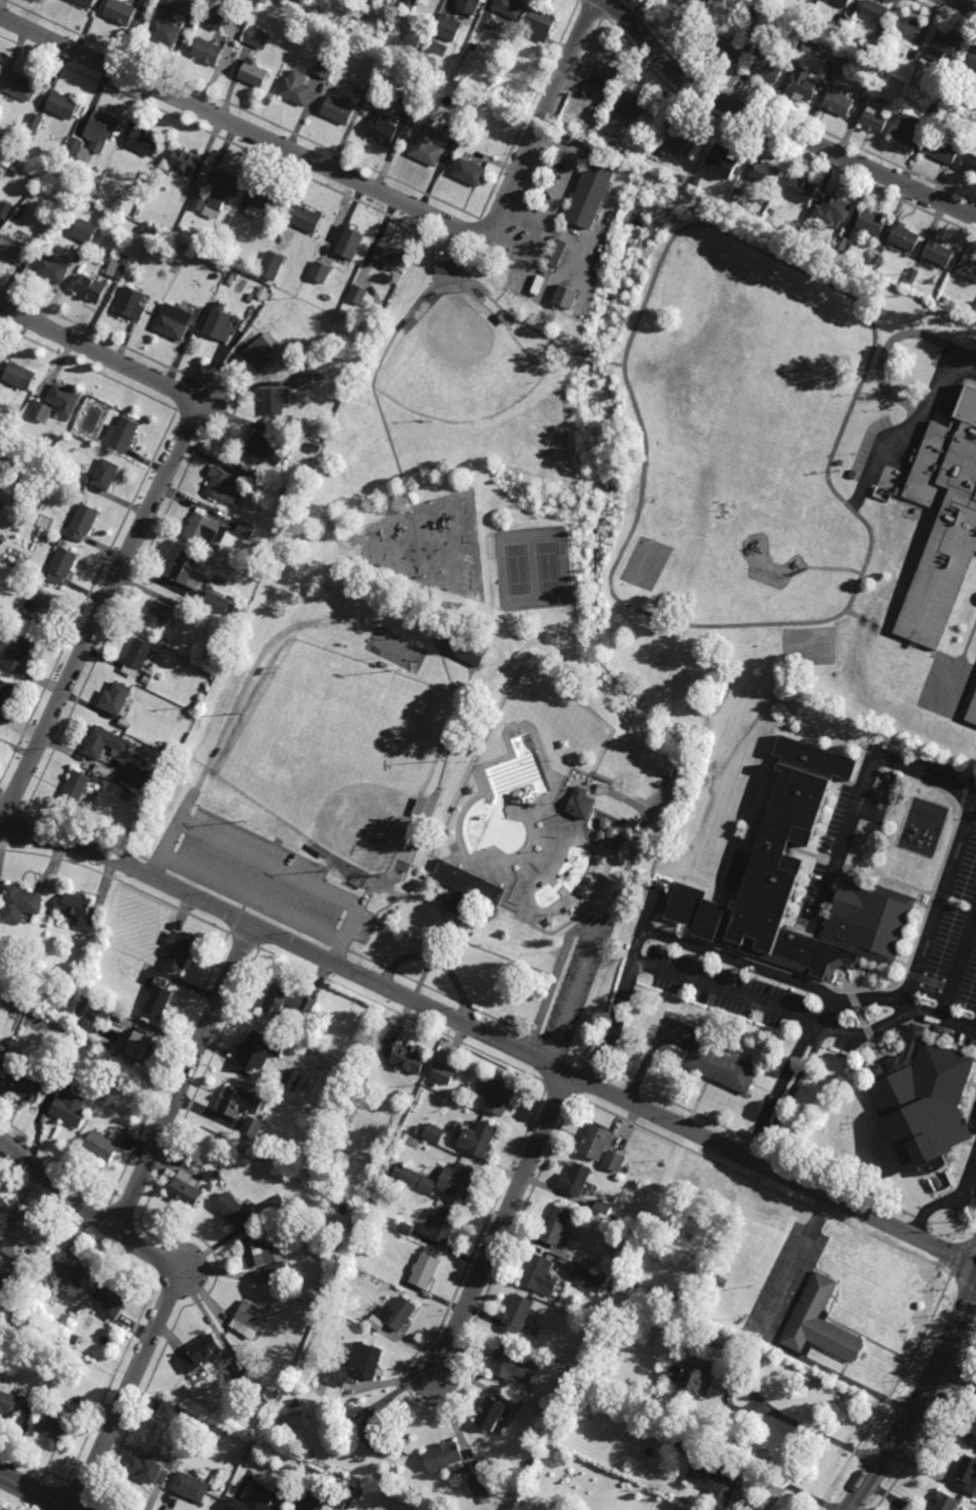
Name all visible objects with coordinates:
building: (812, 1)
building: (88, 2)
building: (147, 2)
building: (842, 2)
building: (410, 4)
building: (469, 5)
road: (963, 5)
building: (511, 6)
building: (713, 9)
building: (120, 10)
building: (874, 10)
building: (734, 14)
road: (944, 14)
building: (777, 16)
building: (216, 19)
building: (844, 20)
building: (386, 23)
building: (541, 23)
building: (448, 26)
building: (910, 26)
building: (164, 29)
building: (258, 36)
building: (522, 37)
building: (804, 43)
building: (732, 45)
building: (942, 47)
building: (207, 49)
building: (868, 50)
building: (918, 53)
building: (972, 56)
building: (884, 58)
building: (840, 62)
building: (326, 65)
building: (767, 68)
building: (254, 71)
building: (877, 74)
building: (602, 77)
building: (942, 80)
building: (803, 81)
building: (22, 86)
building: (296, 86)
building: (972, 98)
building: (485, 100)
building: (838, 101)
building: (600, 103)
building: (65, 104)
building: (634, 104)
building: (339, 108)
building: (934, 109)
building: (412, 112)
building: (874, 116)
building: (37, 121)
building: (383, 126)
road: (778, 126)
building: (909, 127)
building: (452, 130)
building: (964, 134)
building: (95, 135)
building: (29, 136)
building: (682, 139)
building: (144, 141)
building: (14, 143)
road: (778, 143)
building: (429, 145)
building: (942, 148)
building: (731, 155)
building: (184, 160)
building: (969, 163)
building: (471, 170)
building: (766, 172)
building: (683, 177)
building: (697, 179)
road: (357, 181)
building: (227, 183)
building: (594, 187)
building: (54, 188)
building: (800, 188)
building: (738, 193)
building: (200, 200)
building: (264, 201)
building: (89, 205)
building: (832, 209)
building: (5, 210)
building: (19, 217)
building: (307, 218)
building: (871, 222)
building: (144, 229)
building: (85, 231)
road: (491, 235)
building: (904, 235)
building: (349, 241)
building: (842, 245)
building: (14, 248)
building: (939, 252)
building: (557, 253)
building: (390, 256)
road: (431, 261)
building: (877, 261)
road: (478, 263)
road: (657, 263)
building: (211, 264)
building: (272, 265)
building: (119, 266)
building: (447, 266)
building: (967, 267)
building: (54, 269)
building: (322, 272)
building: (913, 275)
building: (230, 278)
building: (91, 287)
building: (251, 291)
building: (262, 292)
building: (359, 294)
building: (433, 294)
building: (565, 296)
building: (485, 299)
building: (131, 303)
building: (424, 309)
building: (975, 311)
building: (173, 321)
building: (219, 323)
road: (526, 325)
building: (261, 351)
building: (292, 360)
road: (603, 360)
park: (461, 363)
road: (618, 363)
building: (20, 376)
building: (306, 381)
road: (933, 393)
building: (272, 397)
building: (65, 400)
building: (966, 406)
building: (42, 412)
building: (120, 435)
building: (317, 448)
building: (262, 449)
building: (267, 471)
building: (105, 474)
building: (82, 480)
building: (260, 481)
building: (224, 486)
building: (285, 491)
building: (1, 505)
building: (82, 520)
road: (145, 520)
building: (245, 528)
building: (205, 530)
building: (940, 534)
building: (2, 539)
building: (62, 562)
building: (0, 564)
park: (551, 567)
building: (186, 569)
park: (520, 570)
road: (425, 587)
building: (218, 604)
building: (39, 607)
building: (158, 615)
park: (482, 622)
building: (16, 628)
building: (468, 649)
building: (16, 652)
building: (137, 655)
building: (383, 663)
road: (671, 667)
road: (447, 672)
building: (144, 678)
road: (244, 687)
building: (5, 697)
building: (115, 697)
building: (971, 711)
road: (653, 715)
building: (125, 723)
road: (510, 732)
building: (105, 741)
park: (344, 752)
road: (648, 756)
building: (669, 771)
building: (138, 778)
building: (77, 785)
road: (862, 790)
road: (598, 793)
road: (630, 802)
building: (582, 803)
building: (423, 804)
road: (525, 812)
building: (509, 830)
road: (174, 832)
building: (454, 847)
building: (321, 848)
building: (768, 858)
road: (271, 865)
building: (466, 887)
building: (587, 893)
road: (397, 894)
road: (255, 898)
building: (20, 904)
building: (81, 910)
road: (650, 914)
road: (601, 925)
road: (350, 931)
road: (405, 936)
building: (178, 950)
road: (495, 954)
road: (433, 956)
road: (437, 962)
road: (554, 977)
road: (796, 984)
building: (158, 1001)
building: (287, 1001)
building: (99, 1008)
road: (824, 1009)
road: (935, 1014)
road: (797, 1015)
road: (868, 1030)
road: (492, 1038)
building: (139, 1046)
building: (255, 1050)
building: (1, 1051)
building: (406, 1056)
building: (720, 1063)
building: (53, 1069)
building: (361, 1072)
building: (444, 1073)
road: (183, 1076)
building: (291, 1080)
building: (28, 1084)
building: (498, 1094)
building: (408, 1095)
building: (240, 1099)
building: (69, 1101)
building: (916, 1107)
building: (331, 1112)
building: (252, 1127)
building: (416, 1129)
building: (434, 1132)
building: (403, 1134)
building: (480, 1136)
building: (595, 1140)
building: (106, 1142)
building: (614, 1160)
building: (216, 1173)
building: (412, 1176)
building: (575, 1178)
building: (457, 1179)
building: (185, 1189)
road: (951, 1202)
building: (3, 1204)
building: (276, 1206)
road: (87, 1207)
building: (232, 1208)
building: (602, 1209)
building: (614, 1218)
building: (622, 1221)
building: (441, 1224)
road: (501, 1226)
building: (557, 1227)
building: (405, 1228)
building: (26, 1238)
building: (265, 1258)
building: (71, 1267)
building: (424, 1270)
building: (540, 1274)
building: (344, 1276)
building: (590, 1280)
building: (2, 1281)
building: (111, 1299)
building: (400, 1313)
building: (516, 1313)
building: (249, 1318)
building: (83, 1321)
building: (320, 1322)
building: (376, 1322)
building: (820, 1323)
building: (200, 1352)
building: (0, 1356)
building: (573, 1358)
building: (365, 1360)
building: (513, 1362)
building: (696, 1375)
building: (338, 1376)
building: (242, 1379)
road: (392, 1380)
road: (126, 1393)
building: (277, 1394)
building: (9, 1400)
road: (920, 1400)
building: (73, 1408)
building: (169, 1411)
building: (188, 1412)
building: (492, 1412)
building: (207, 1423)
building: (54, 1426)
road: (816, 1435)
building: (245, 1436)
building: (377, 1438)
building: (689, 1444)
building: (444, 1457)
building: (148, 1468)
building: (967, 1474)
building: (383, 1476)
building: (716, 1483)
building: (191, 1486)
building: (479, 1488)
building: (359, 1492)
road: (36, 1493)
building: (326, 1501)
building: (946, 1501)
building: (248, 1504)

